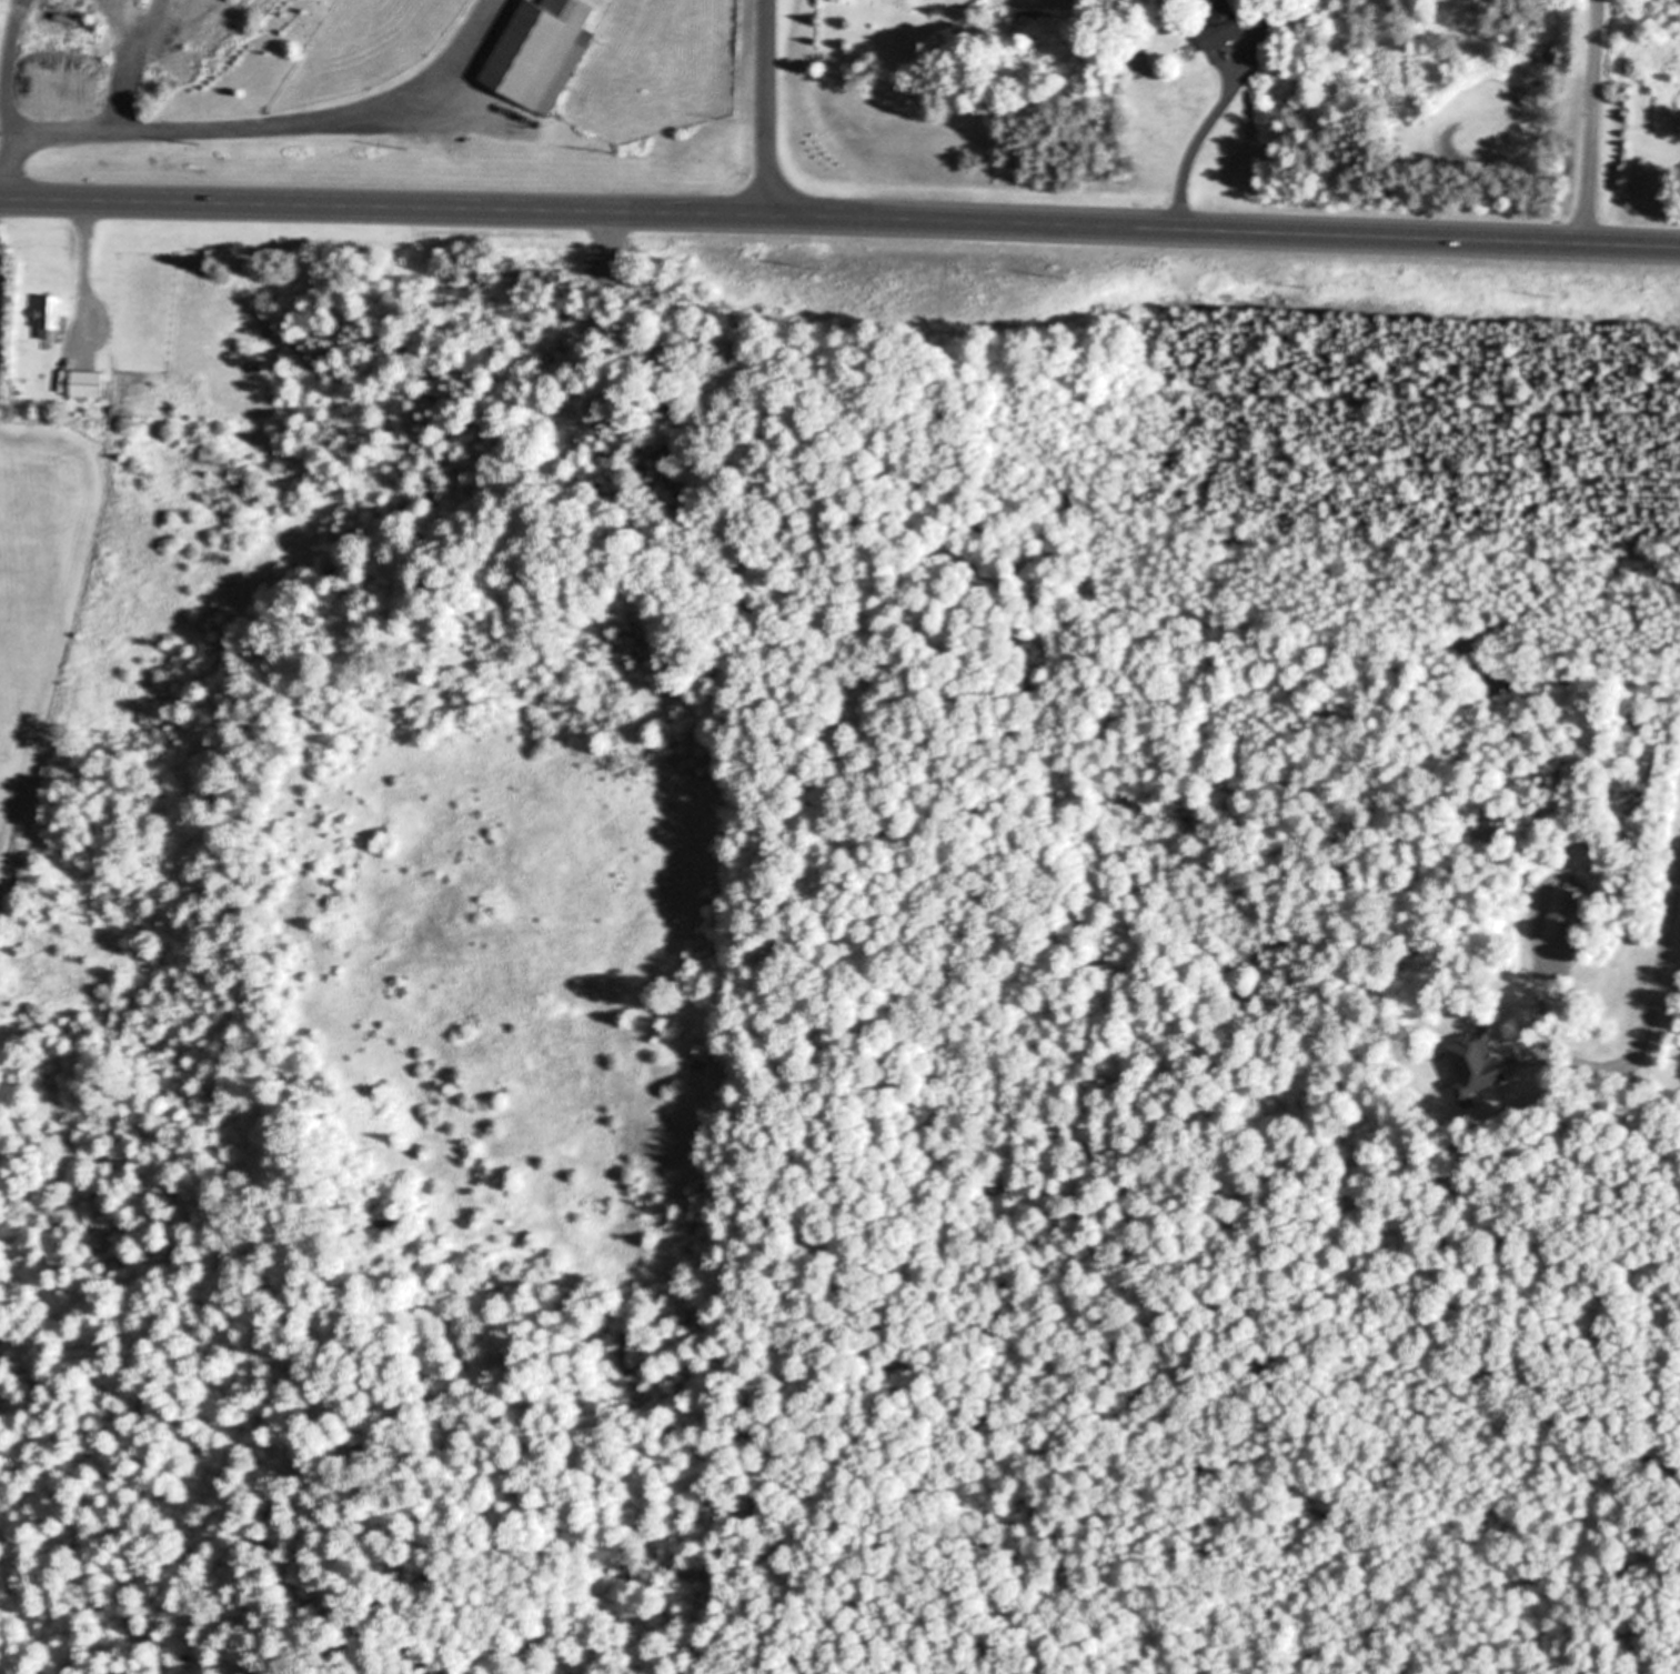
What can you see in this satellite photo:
building: (1224, 26)
building: (542, 53)
road: (766, 107)
road: (1587, 122)
road: (254, 123)
road: (1200, 138)
power tower: (207, 149)
power tower: (616, 152)
power tower: (412, 153)
road: (839, 217)
road: (81, 269)
power tower: (825, 274)
power tower: (1069, 281)
power tower: (1309, 290)
power tower: (1548, 300)
building: (51, 319)
building: (88, 385)
building: (1565, 915)
road: (1650, 999)
building: (1473, 1062)

